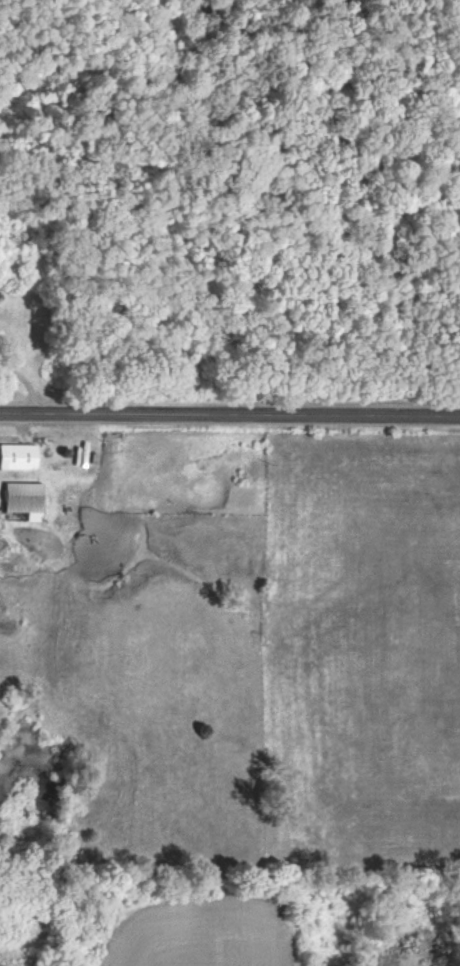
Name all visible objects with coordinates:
road: (229, 413)
building: (18, 459)
building: (25, 502)
road: (55, 588)

